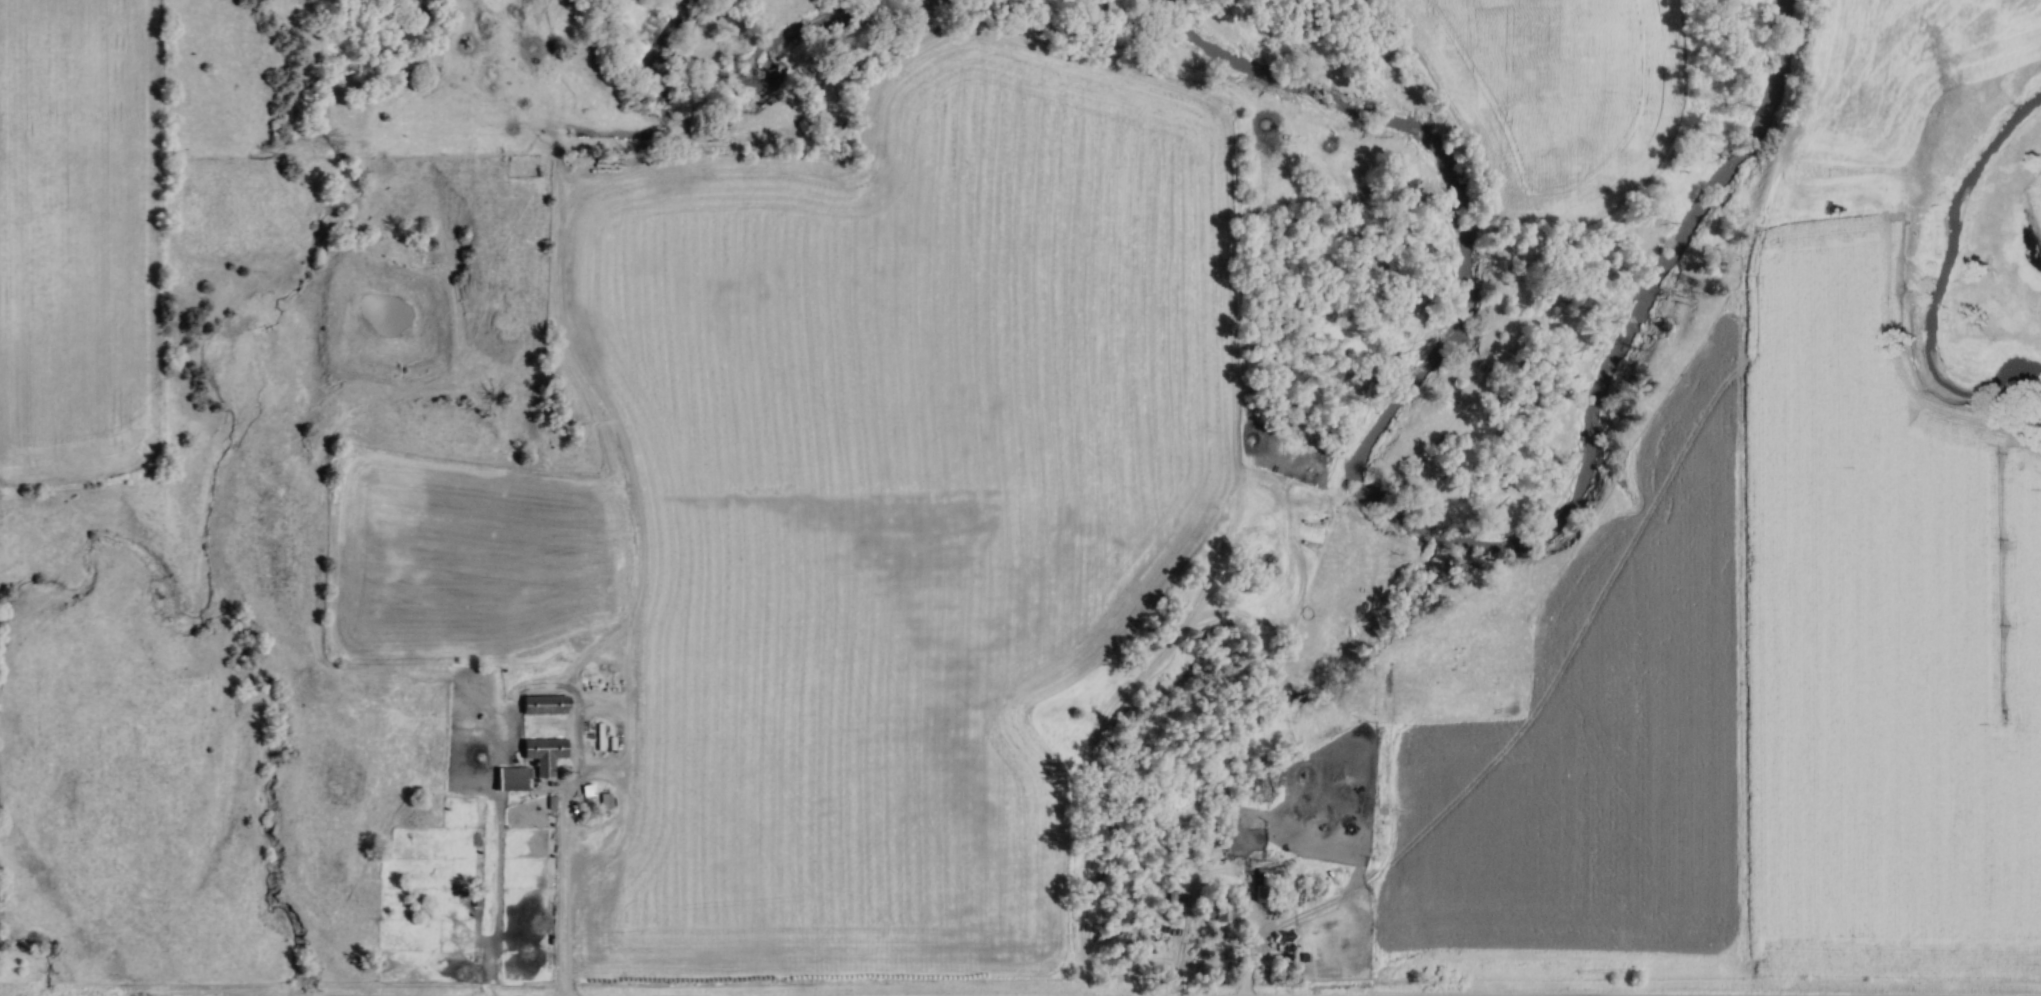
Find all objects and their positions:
building: (544, 706)
building: (544, 755)
building: (514, 780)
road: (561, 885)

